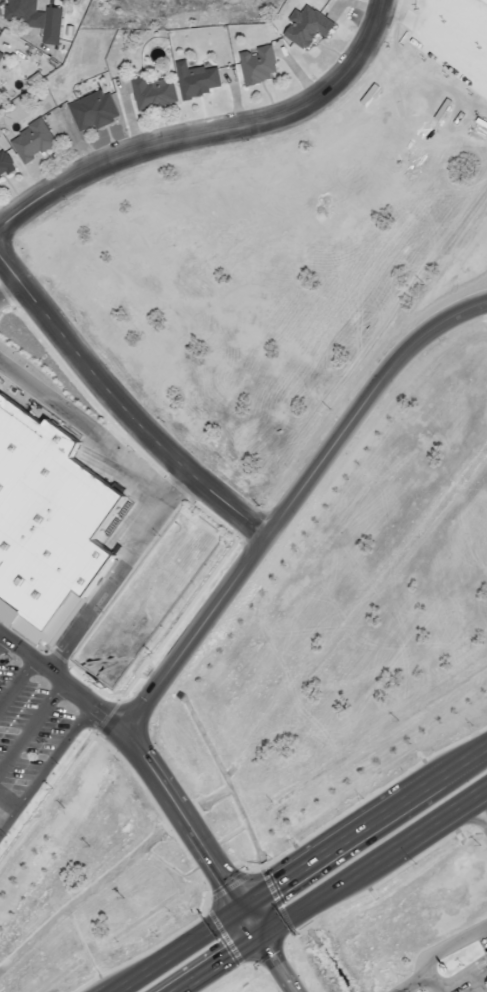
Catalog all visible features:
building: (485, 0)
building: (33, 18)
building: (304, 26)
building: (0, 53)
building: (255, 64)
building: (195, 79)
building: (152, 93)
building: (89, 110)
road: (208, 134)
building: (29, 140)
building: (3, 163)
road: (121, 408)
road: (293, 504)
building: (46, 525)
road: (120, 573)
road: (1, 638)
road: (16, 682)
road: (65, 684)
road: (31, 726)
road: (54, 756)
road: (8, 800)
road: (478, 809)
road: (195, 834)
road: (371, 861)
road: (302, 869)
traffic signals: (240, 911)
traffic signals: (256, 938)
building: (485, 952)
road: (215, 965)
road: (272, 965)

